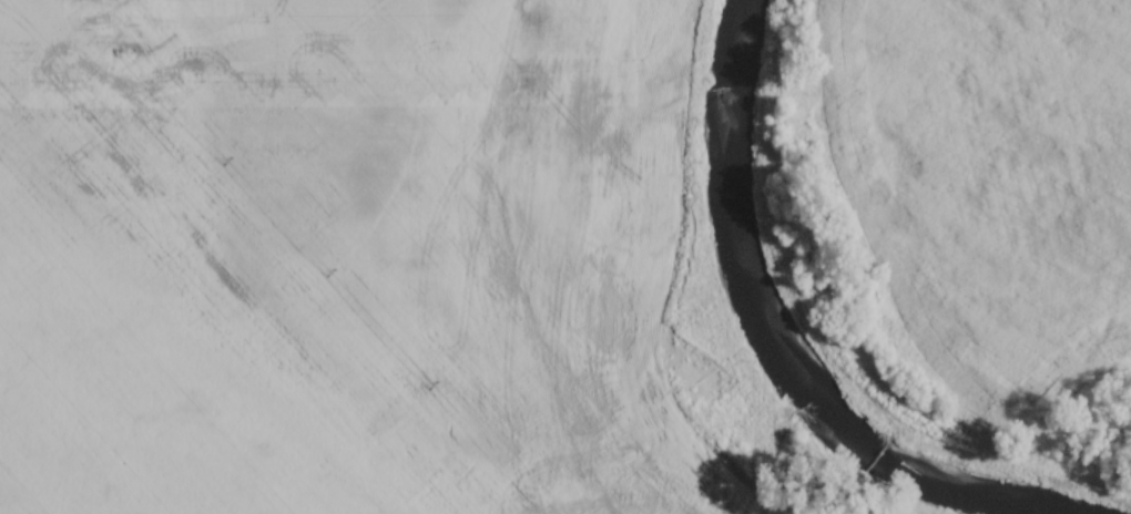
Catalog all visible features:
river: (777, 332)

